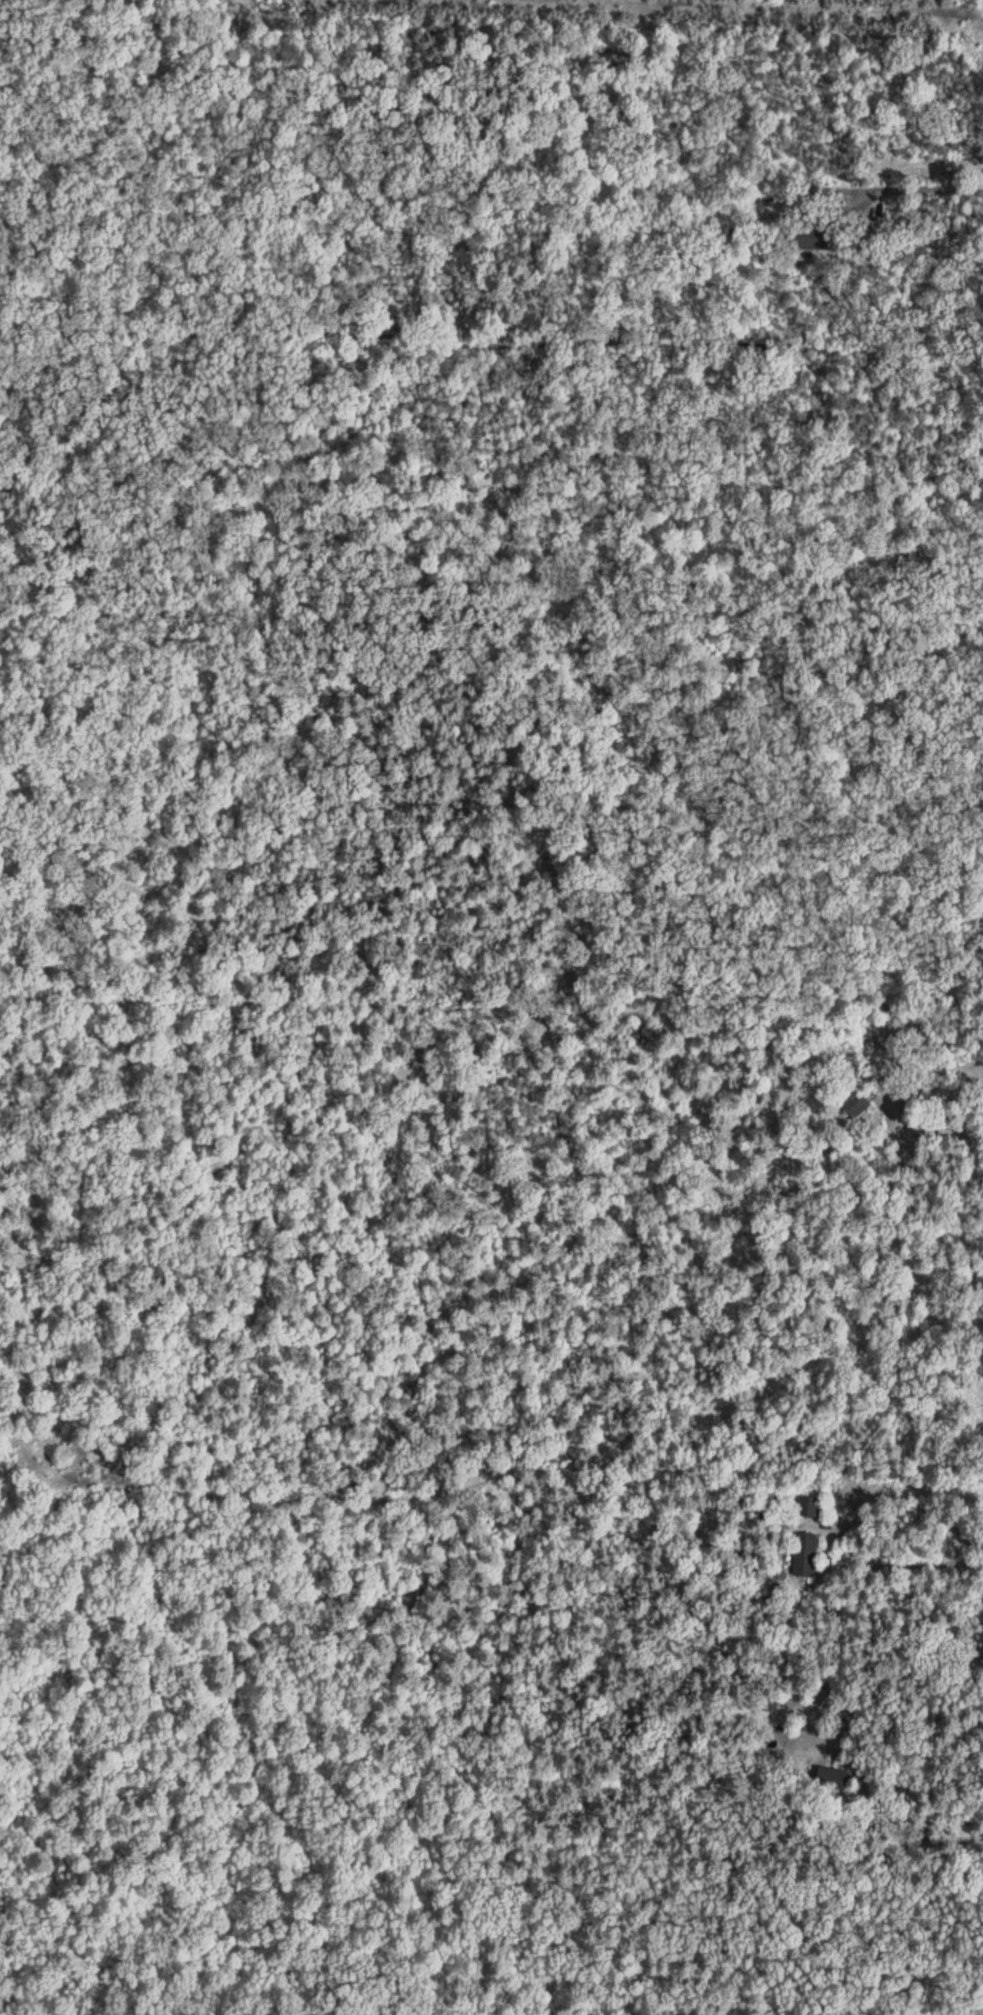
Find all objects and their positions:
road: (729, 7)
road: (922, 191)
building: (856, 1107)
road: (926, 1125)
building: (809, 1510)
road: (917, 1555)
building: (806, 1558)
building: (833, 1780)
road: (943, 1830)

